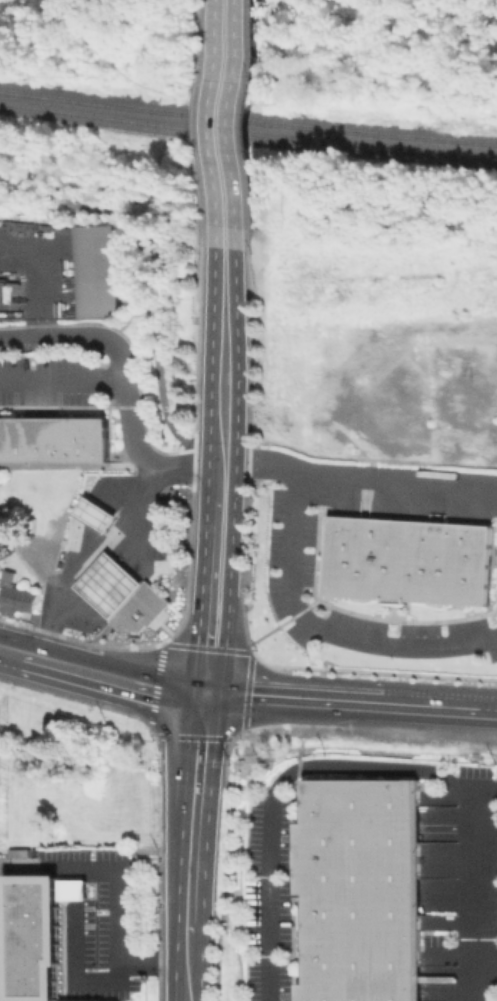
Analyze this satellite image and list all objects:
railway: (248, 118)
road: (224, 124)
railway: (247, 133)
road: (42, 271)
building: (98, 272)
road: (223, 290)
road: (123, 378)
road: (62, 380)
road: (209, 414)
building: (53, 441)
road: (397, 484)
building: (94, 514)
road: (232, 516)
road: (94, 555)
building: (406, 559)
building: (108, 584)
building: (14, 595)
road: (200, 599)
building: (138, 608)
road: (301, 609)
road: (393, 609)
road: (363, 614)
road: (278, 625)
road: (168, 638)
road: (10, 662)
road: (104, 662)
road: (372, 670)
road: (112, 689)
road: (74, 698)
traffic signals: (205, 700)
road: (350, 710)
road: (204, 738)
road: (301, 738)
road: (281, 779)
road: (193, 815)
building: (20, 854)
road: (75, 874)
road: (75, 889)
building: (360, 889)
road: (479, 894)
road: (116, 915)
building: (38, 932)
road: (488, 964)
road: (186, 966)
road: (75, 968)

